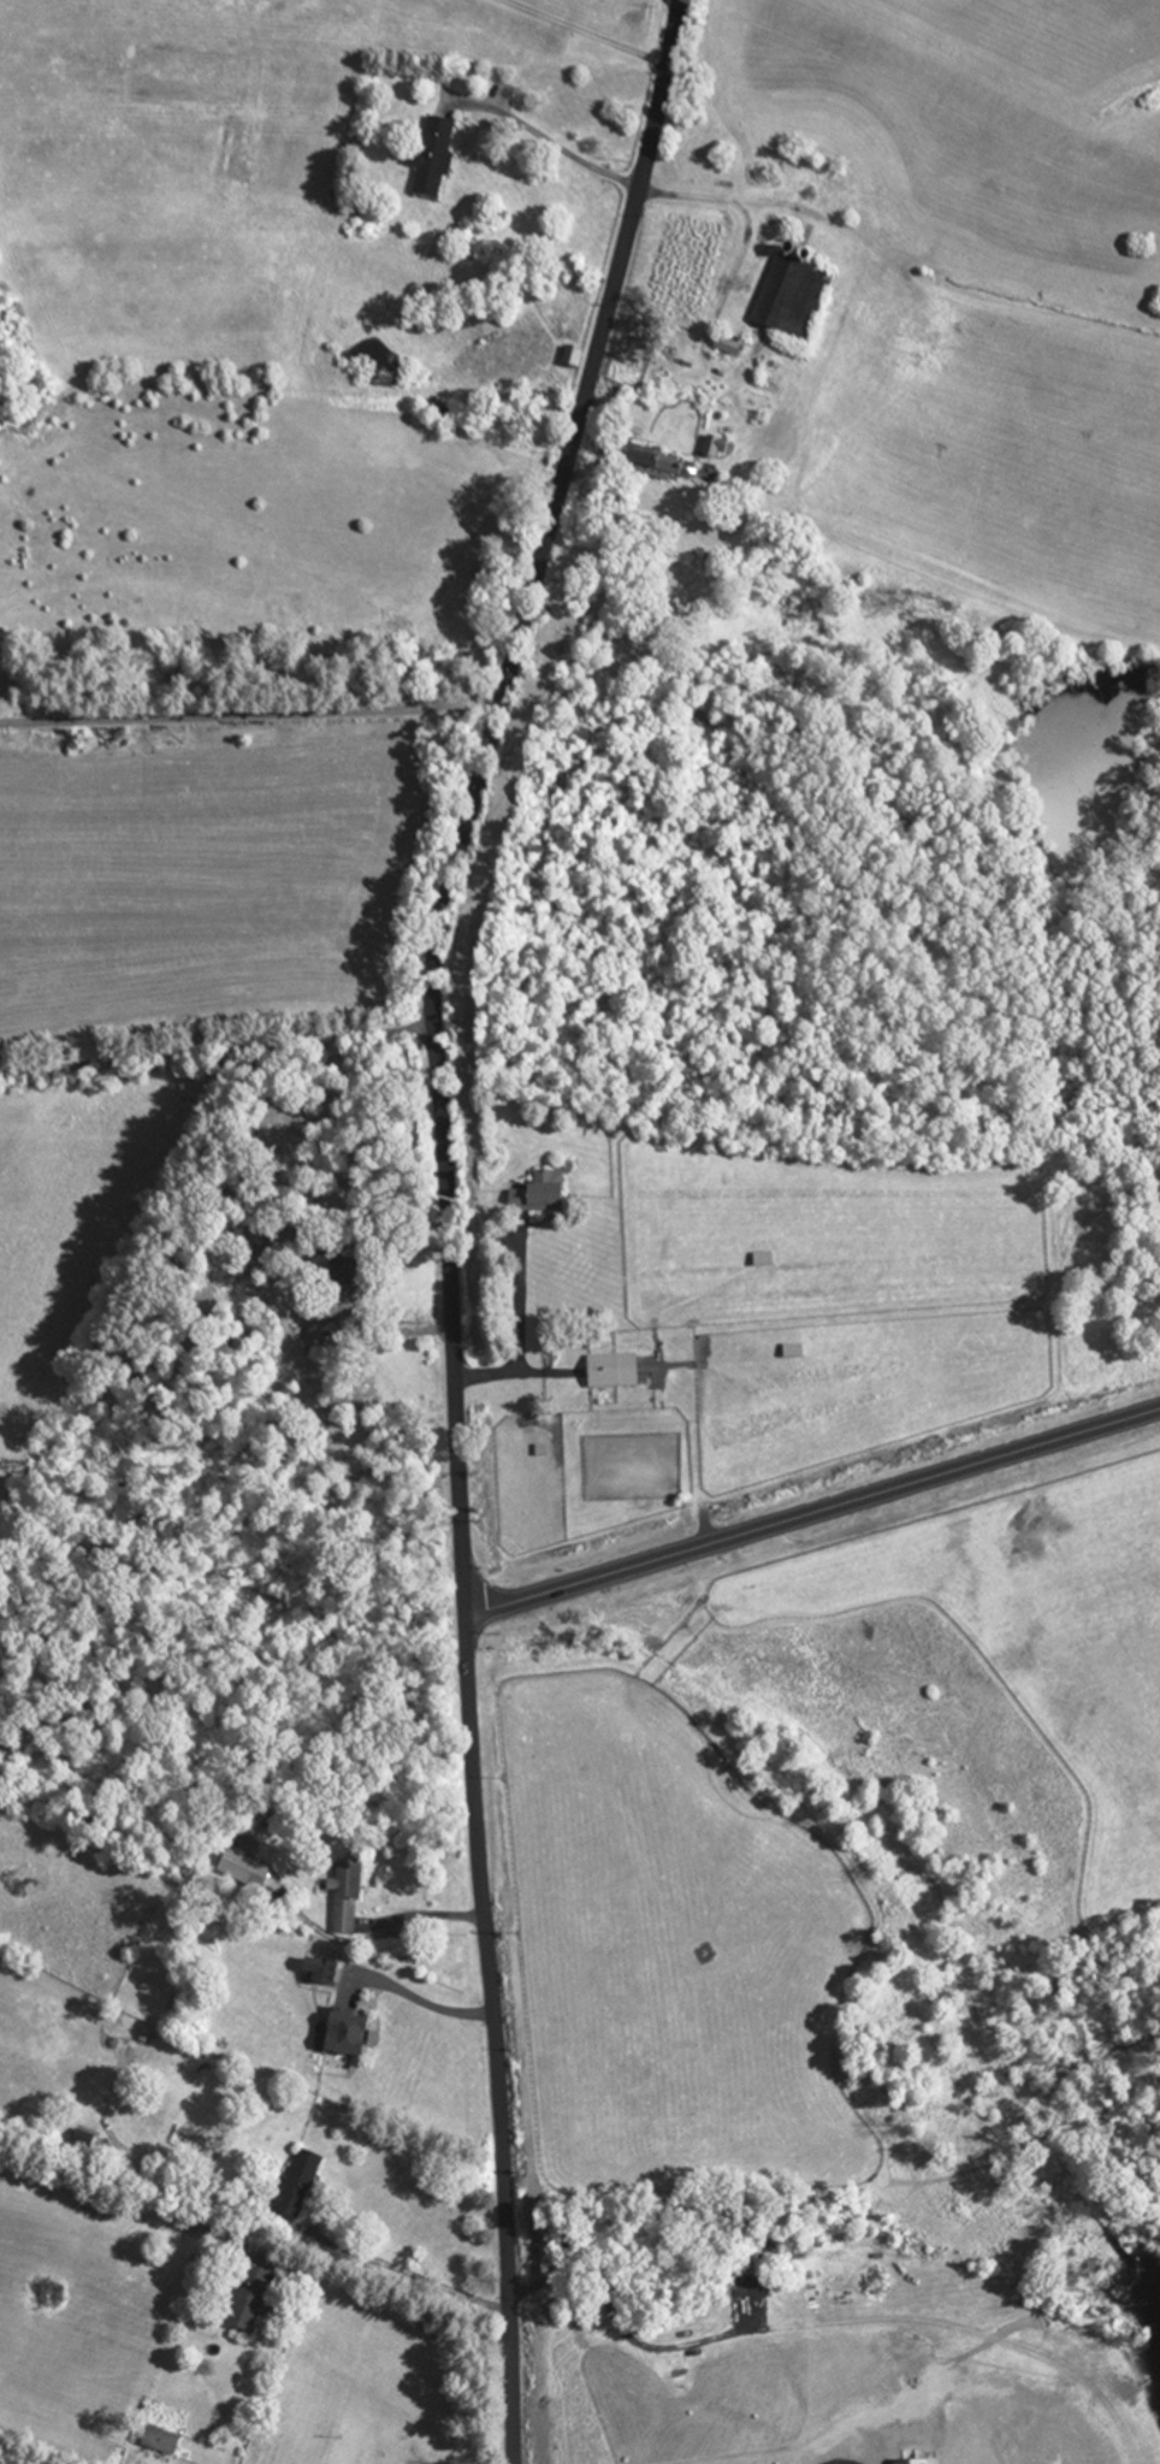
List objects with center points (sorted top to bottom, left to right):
road: (578, 34)
road: (548, 140)
building: (438, 158)
road: (724, 201)
building: (800, 297)
building: (579, 355)
building: (668, 461)
road: (249, 717)
road: (217, 1059)
building: (537, 1194)
road: (444, 1217)
building: (764, 1260)
building: (345, 1277)
road: (389, 1333)
road: (519, 1334)
building: (795, 1352)
building: (616, 1371)
road: (810, 1505)
building: (249, 1872)
building: (350, 1897)
road: (418, 2001)
building: (355, 2034)
building: (303, 2186)
road: (403, 2273)
building: (251, 2300)
road: (387, 2304)
crop: (846, 2380)
building: (164, 2439)

